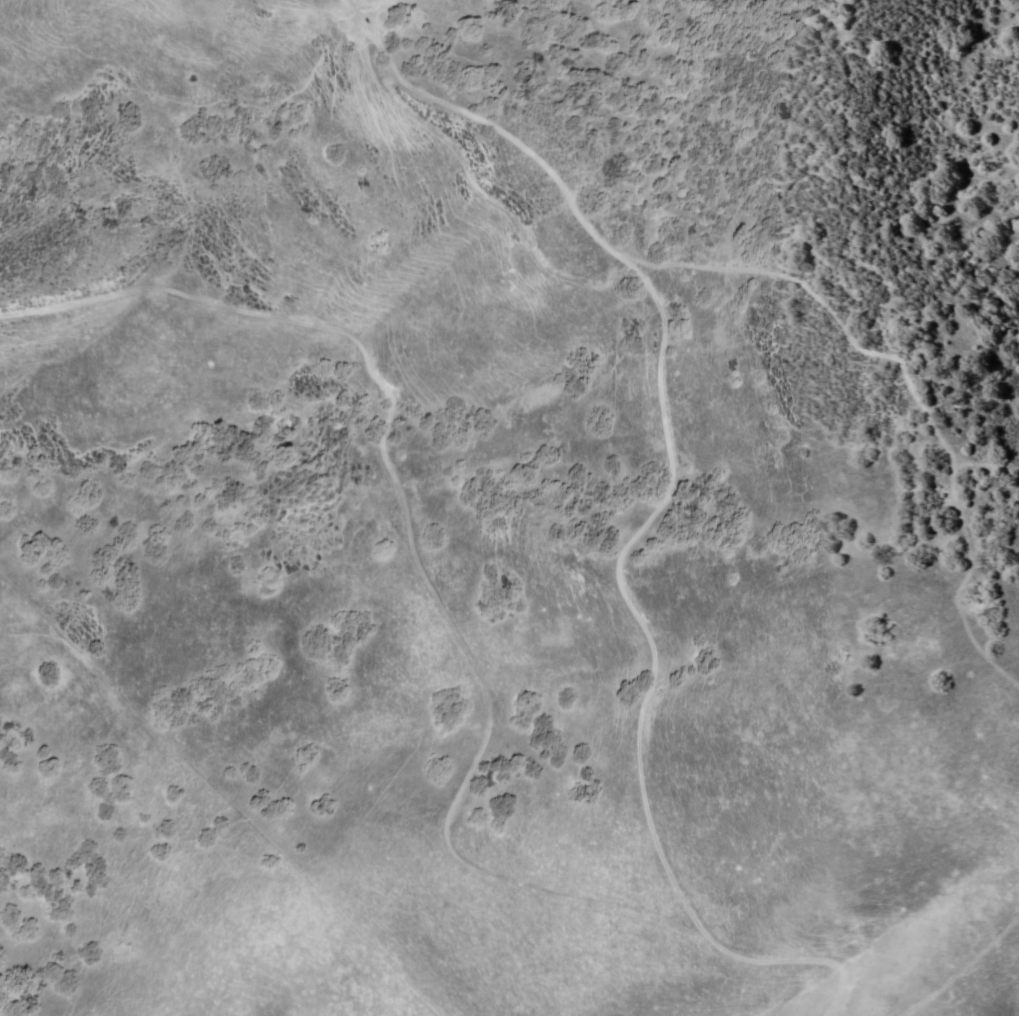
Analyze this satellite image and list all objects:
road: (662, 412)
road: (456, 642)
road: (688, 916)

